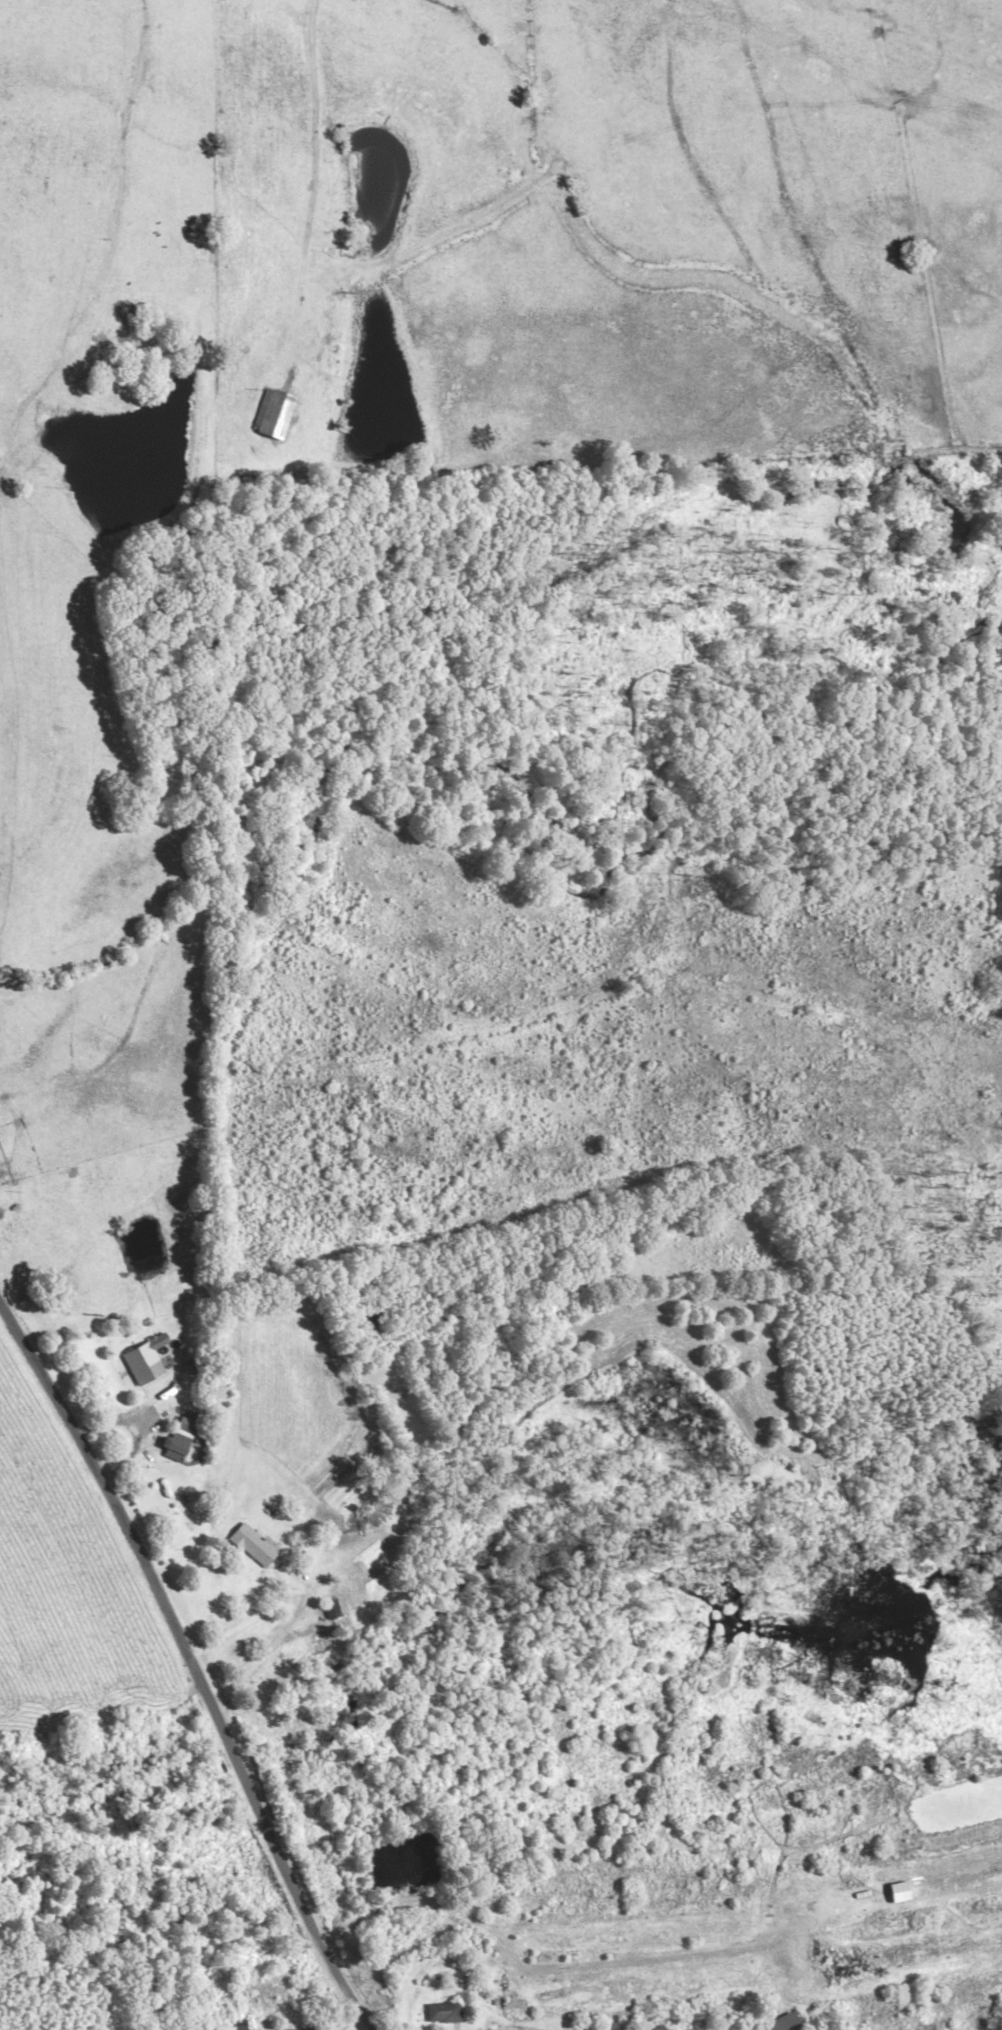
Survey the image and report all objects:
road: (307, 194)
building: (267, 416)
road: (136, 480)
building: (139, 1365)
building: (171, 1449)
building: (185, 1513)
building: (251, 1547)
building: (327, 1609)
building: (318, 1643)
road: (191, 1666)
building: (905, 1890)
building: (628, 1932)
building: (911, 1954)
building: (633, 1992)
building: (441, 2015)
road: (548, 2023)
building: (776, 2024)
building: (232, 2025)

